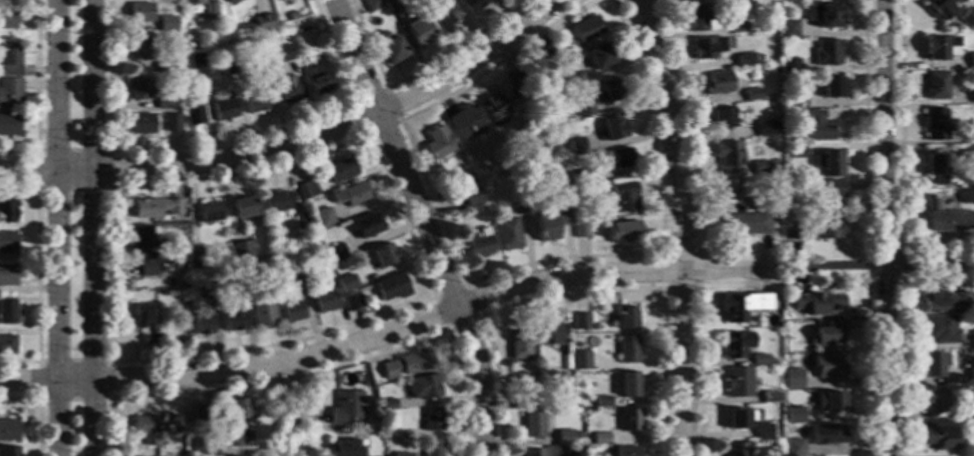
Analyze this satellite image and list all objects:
building: (721, 0)
building: (786, 0)
building: (230, 1)
building: (193, 2)
road: (637, 3)
building: (372, 4)
building: (393, 4)
building: (472, 5)
building: (937, 5)
building: (210, 11)
building: (383, 11)
building: (139, 13)
building: (445, 14)
building: (823, 15)
building: (8, 18)
building: (696, 18)
building: (967, 18)
building: (165, 24)
building: (258, 25)
building: (736, 28)
building: (586, 29)
building: (787, 31)
building: (420, 32)
building: (706, 47)
building: (389, 48)
building: (939, 48)
building: (139, 50)
building: (541, 50)
building: (826, 53)
building: (285, 54)
building: (598, 57)
building: (757, 57)
building: (9, 60)
building: (259, 60)
building: (743, 60)
building: (196, 61)
building: (971, 61)
building: (165, 66)
building: (789, 66)
building: (229, 67)
road: (416, 71)
building: (316, 80)
building: (565, 83)
building: (516, 84)
building: (717, 84)
building: (830, 86)
building: (936, 86)
building: (138, 89)
building: (287, 90)
building: (609, 91)
building: (10, 92)
road: (36, 94)
building: (751, 94)
building: (972, 95)
building: (795, 99)
building: (257, 102)
building: (164, 103)
building: (582, 109)
building: (224, 110)
building: (493, 110)
building: (194, 113)
building: (721, 118)
building: (171, 123)
building: (140, 124)
building: (464, 124)
building: (936, 124)
building: (9, 125)
road: (683, 125)
building: (774, 126)
building: (611, 127)
building: (821, 127)
building: (763, 128)
road: (367, 134)
road: (668, 134)
building: (969, 138)
road: (212, 142)
road: (297, 145)
building: (437, 145)
building: (575, 146)
building: (797, 151)
building: (729, 153)
building: (968, 155)
building: (617, 159)
building: (565, 162)
building: (828, 163)
building: (759, 167)
building: (935, 168)
building: (341, 170)
building: (579, 179)
building: (465, 181)
road: (37, 187)
building: (307, 190)
building: (728, 191)
building: (576, 193)
building: (828, 194)
building: (350, 195)
building: (471, 197)
building: (623, 197)
building: (276, 202)
building: (758, 204)
building: (520, 205)
building: (242, 207)
building: (155, 208)
building: (7, 213)
building: (210, 213)
building: (322, 218)
building: (945, 218)
building: (299, 221)
building: (549, 222)
road: (422, 224)
building: (745, 224)
building: (367, 226)
road: (57, 227)
road: (94, 227)
road: (885, 227)
building: (828, 228)
road: (865, 228)
road: (900, 228)
building: (580, 230)
building: (791, 231)
building: (621, 232)
building: (507, 235)
building: (7, 242)
building: (479, 247)
building: (144, 250)
building: (241, 252)
building: (334, 252)
building: (383, 256)
building: (319, 259)
road: (929, 260)
building: (198, 261)
road: (723, 269)
road: (496, 271)
road: (37, 274)
building: (8, 275)
building: (345, 283)
road: (465, 283)
building: (236, 285)
road: (663, 287)
building: (391, 288)
building: (300, 289)
building: (208, 291)
road: (581, 291)
building: (325, 302)
building: (351, 302)
building: (945, 302)
building: (817, 304)
building: (741, 305)
road: (402, 307)
building: (261, 309)
building: (292, 311)
building: (8, 312)
building: (626, 318)
building: (233, 321)
building: (580, 321)
building: (146, 322)
building: (202, 325)
building: (938, 330)
building: (549, 335)
building: (827, 335)
building: (971, 339)
building: (7, 345)
building: (520, 345)
building: (735, 345)
road: (398, 347)
road: (345, 349)
building: (627, 350)
building: (758, 359)
building: (566, 361)
building: (578, 362)
building: (407, 364)
road: (681, 364)
building: (932, 364)
building: (831, 367)
building: (970, 370)
road: (698, 371)
road: (303, 374)
building: (565, 376)
building: (791, 380)
building: (738, 383)
building: (628, 384)
building: (423, 387)
road: (197, 391)
road: (37, 397)
building: (769, 397)
building: (602, 401)
building: (829, 401)
building: (931, 401)
building: (520, 402)
building: (385, 405)
building: (346, 407)
road: (37, 408)
building: (237, 409)
road: (289, 409)
building: (973, 411)
building: (201, 412)
building: (577, 413)
building: (792, 416)
building: (806, 416)
building: (737, 419)
building: (432, 420)
building: (629, 420)
building: (387, 422)
building: (175, 425)
building: (533, 425)
building: (147, 429)
building: (9, 431)
building: (762, 431)
building: (939, 435)
building: (826, 436)
building: (236, 437)
building: (564, 438)
building: (600, 438)
building: (794, 447)
building: (343, 448)
building: (432, 448)
building: (737, 449)
building: (9, 451)
building: (210, 451)
building: (625, 451)
building: (533, 453)
building: (399, 455)
building: (973, 455)

